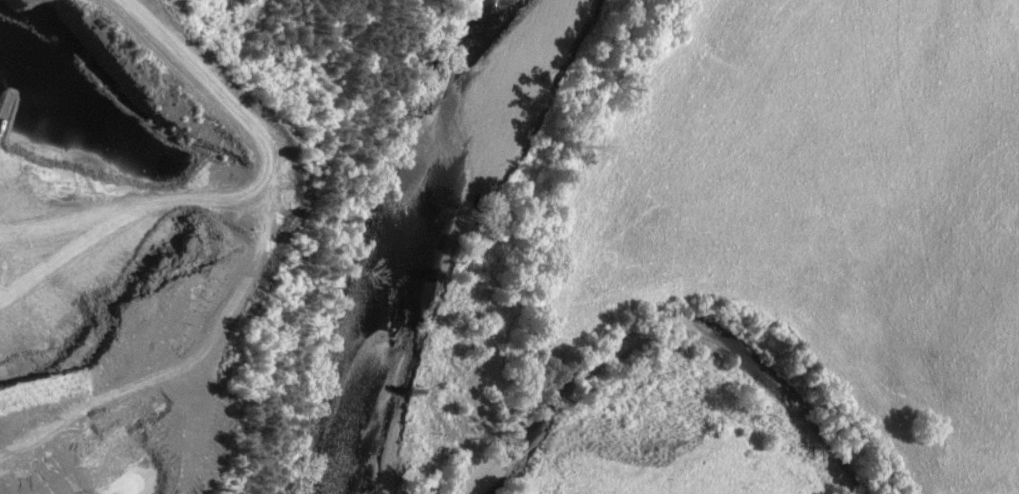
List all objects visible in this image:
road: (256, 137)
quarry: (133, 240)
river: (424, 249)

